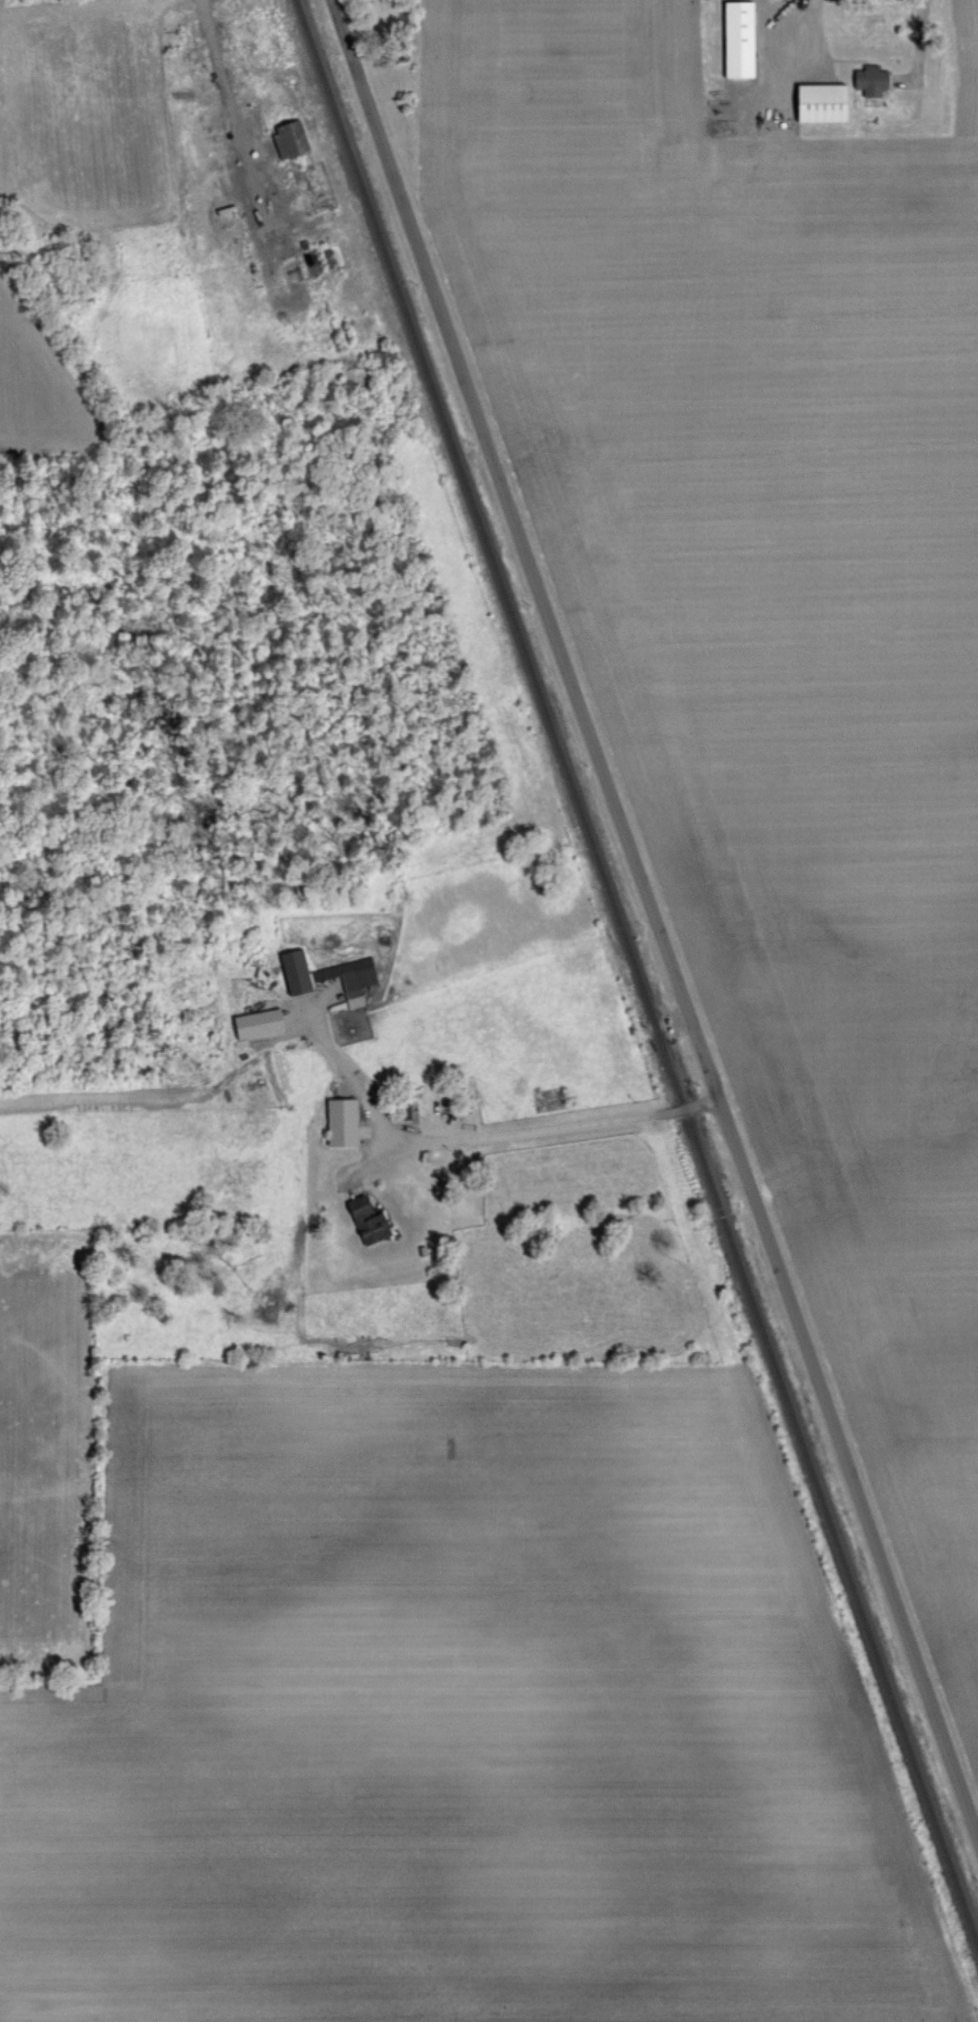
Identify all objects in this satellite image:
building: (742, 39)
road: (922, 39)
road: (794, 41)
building: (872, 80)
building: (825, 103)
road: (230, 107)
building: (292, 139)
road: (657, 925)
building: (297, 971)
railway: (637, 975)
building: (351, 978)
building: (261, 1023)
building: (344, 1122)
road: (488, 1138)
building: (370, 1221)

